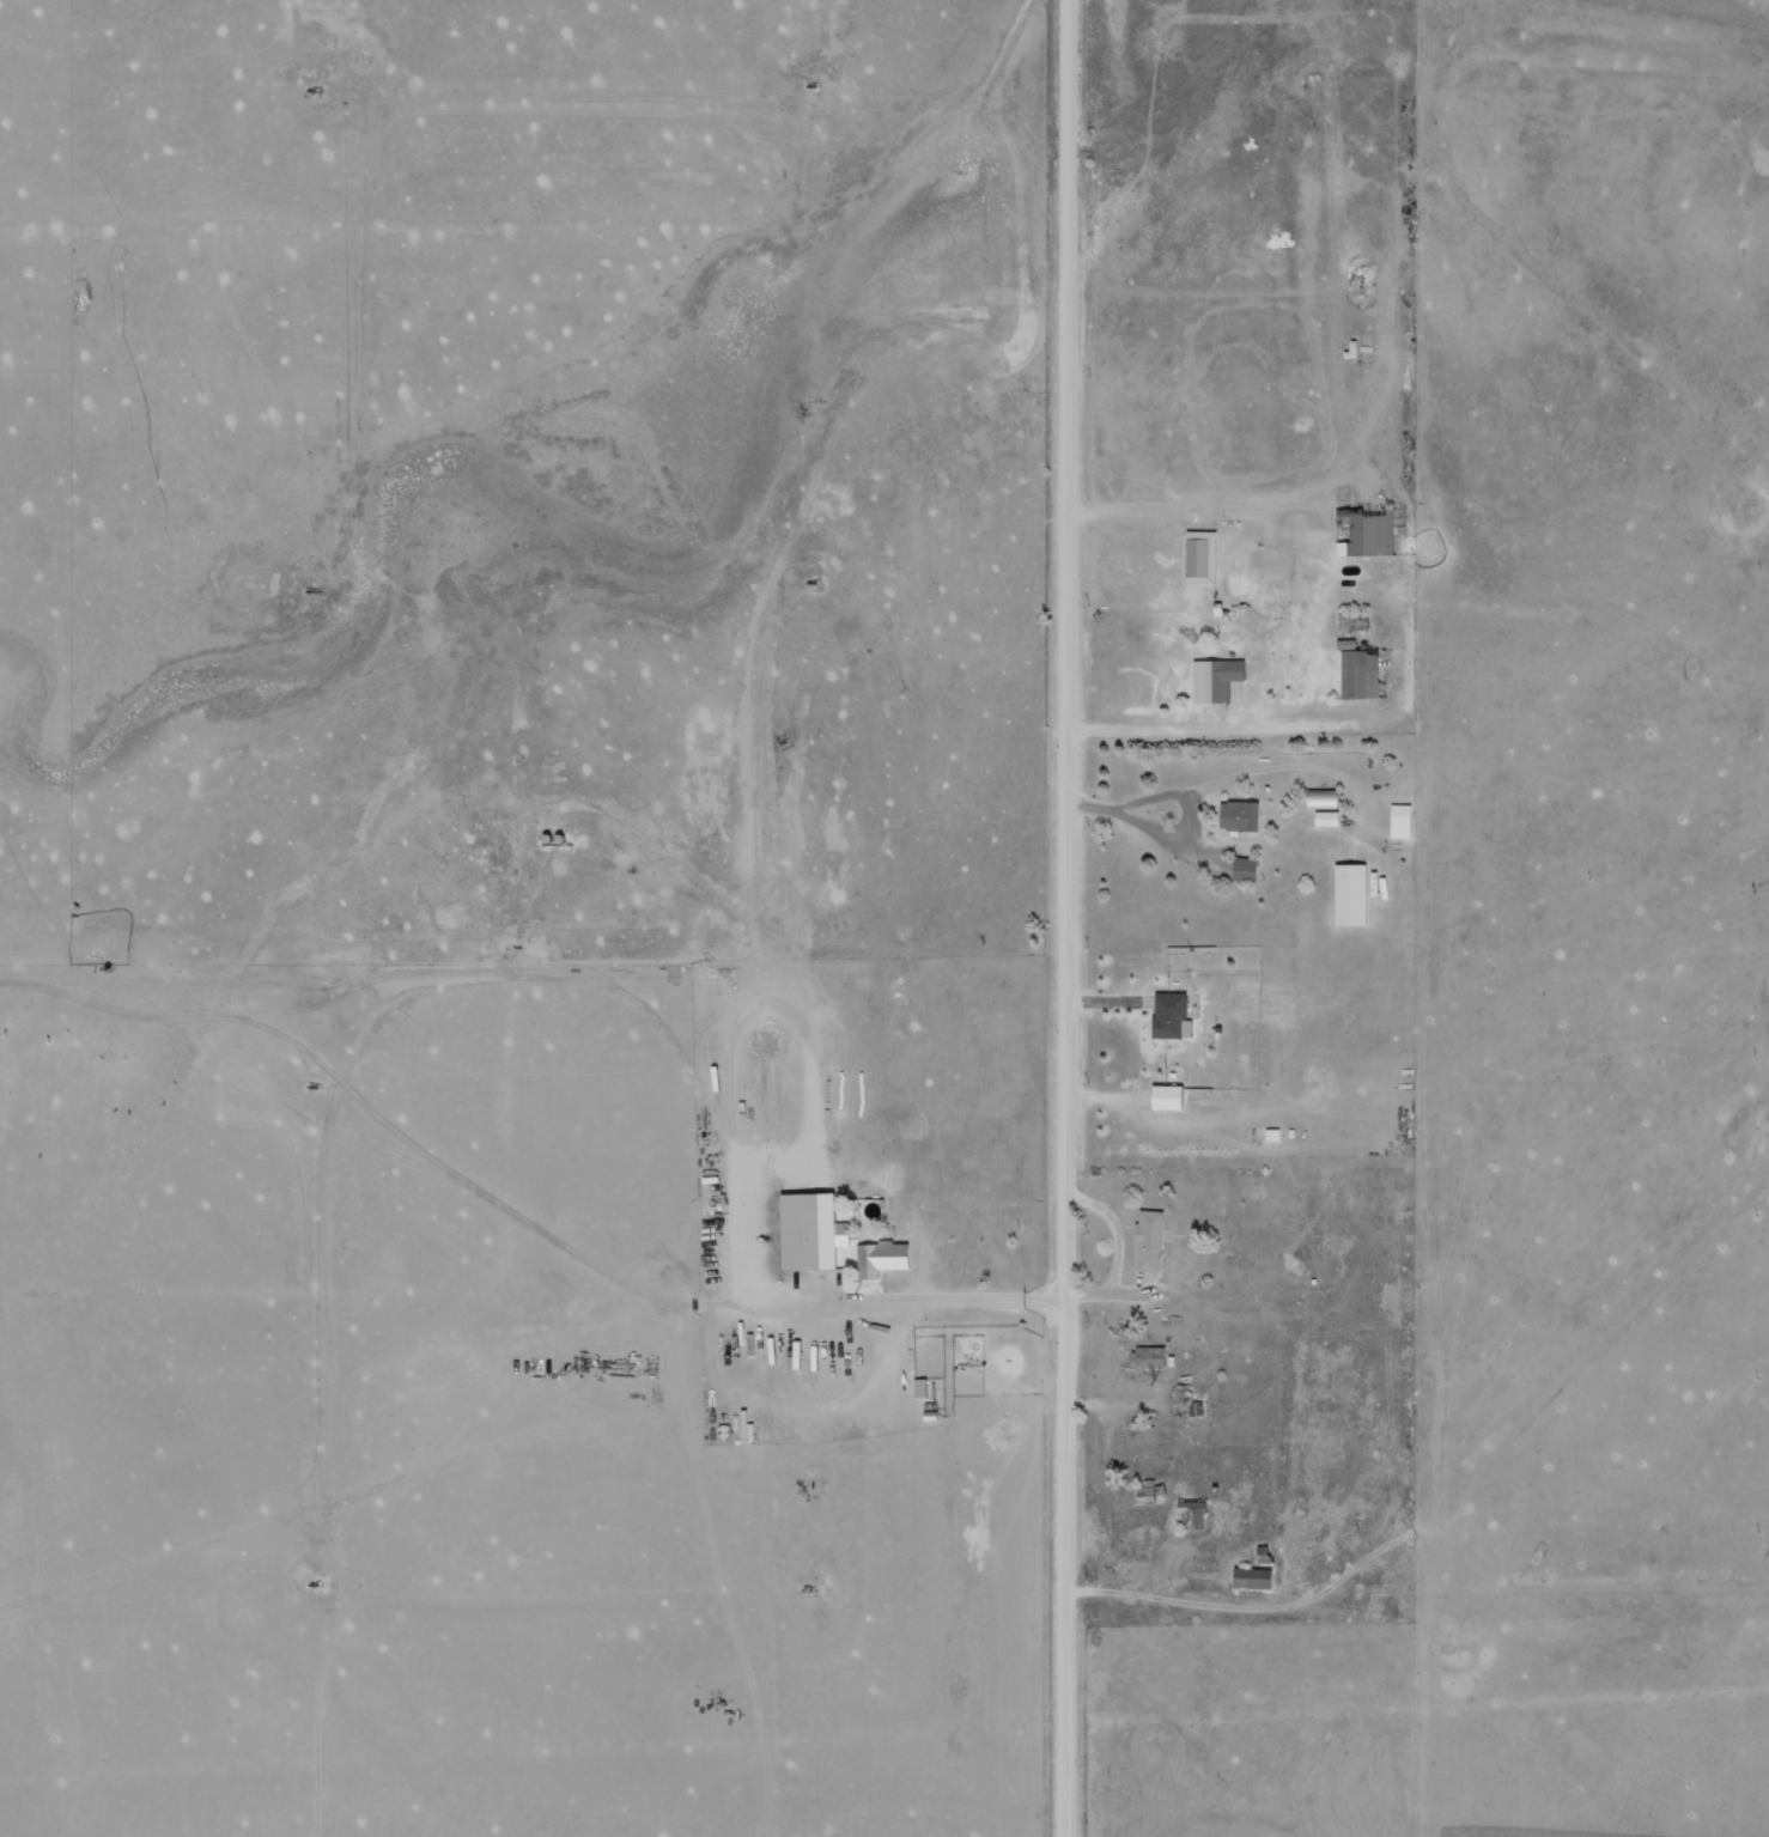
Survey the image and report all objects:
road: (1077, 36)
road: (1077, 115)
building: (1369, 535)
building: (1202, 561)
building: (1361, 674)
building: (1221, 679)
building: (1240, 815)
building: (1326, 819)
building: (1402, 821)
building: (1245, 869)
building: (1351, 894)
road: (1075, 997)
building: (1172, 1015)
building: (1167, 1097)
building: (811, 1231)
building: (1150, 1241)
building: (882, 1258)
road: (940, 1316)
building: (1151, 1358)
building: (1193, 1514)
building: (1253, 1579)
road: (1198, 1622)

